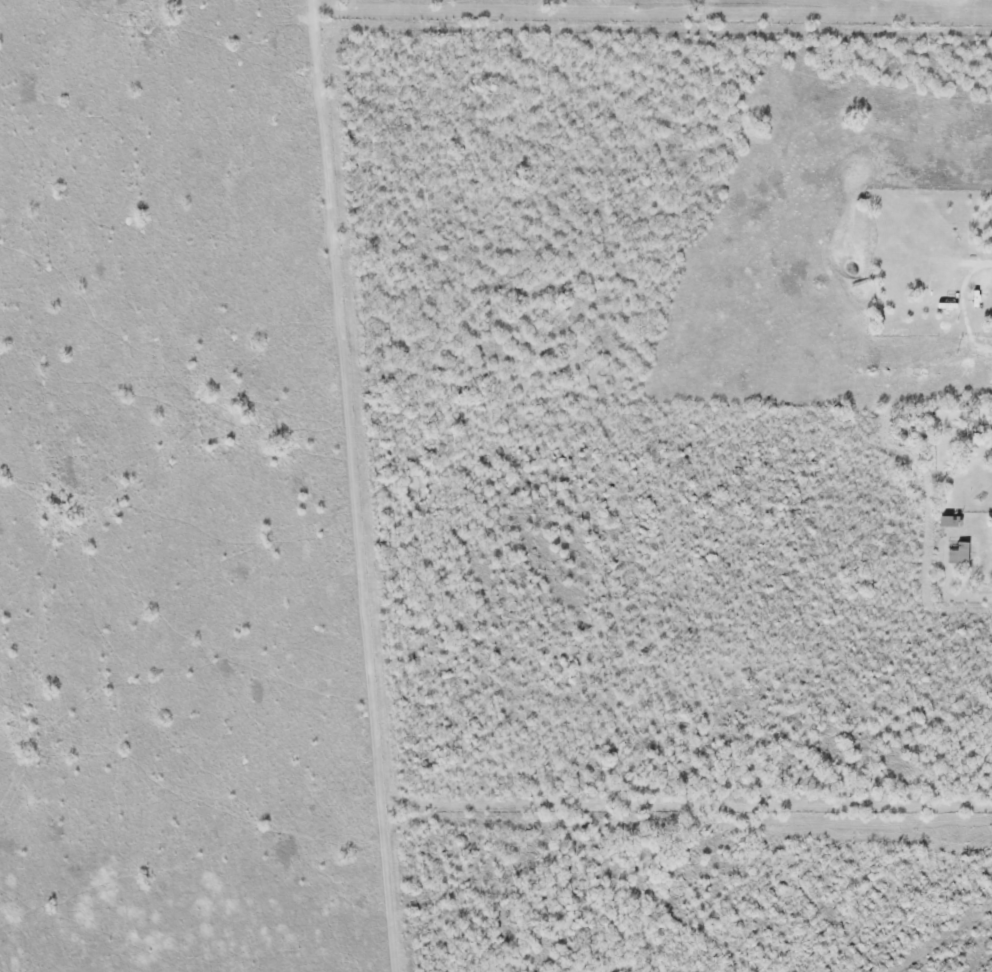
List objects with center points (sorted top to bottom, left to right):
building: (972, 424)
building: (950, 521)
building: (958, 552)

